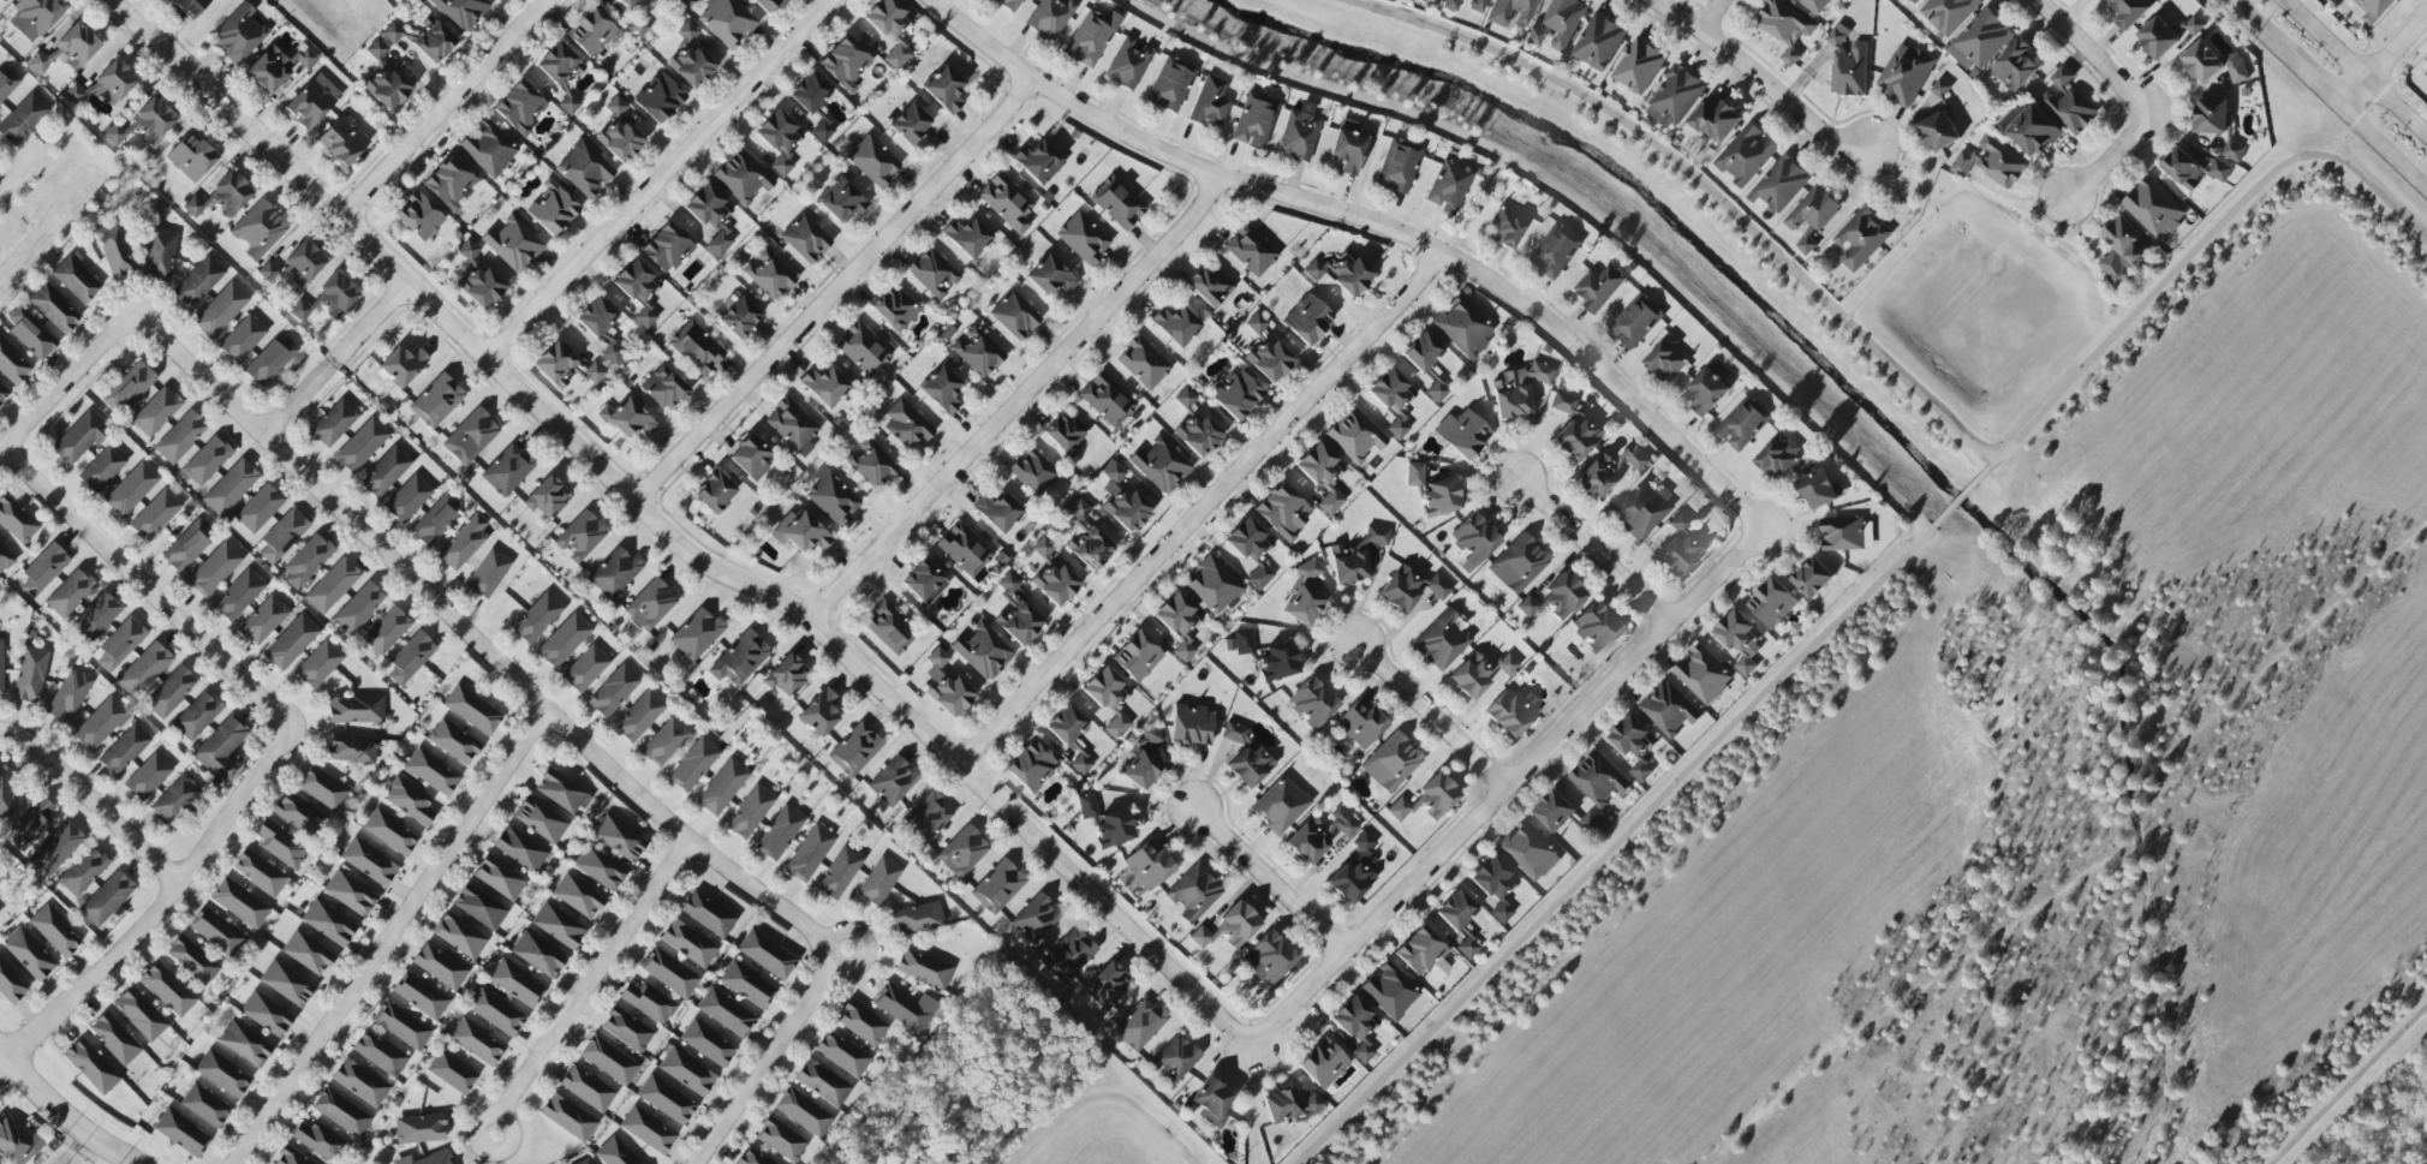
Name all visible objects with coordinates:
building: (4, 0)
building: (2092, 0)
building: (1914, 1)
building: (627, 2)
building: (765, 4)
building: (1009, 4)
building: (1451, 5)
building: (1814, 5)
building: (1478, 6)
building: (190, 7)
building: (2374, 10)
building: (463, 11)
building: (2130, 11)
building: (1511, 12)
building: (1948, 13)
road: (1710, 14)
building: (35, 17)
building: (1050, 17)
building: (727, 20)
building: (2195, 24)
building: (1558, 25)
building: (1784, 26)
road: (2261, 28)
building: (892, 30)
building: (591, 31)
building: (392, 32)
building: (238, 36)
building: (1091, 37)
building: (2157, 38)
building: (433, 41)
building: (1979, 41)
building: (1598, 42)
building: (70, 49)
building: (376, 49)
building: (690, 58)
road: (2385, 59)
building: (2426, 60)
building: (2202, 62)
building: (845, 64)
building: (1127, 64)
building: (278, 66)
building: (1639, 66)
building: (1848, 66)
building: (2015, 66)
building: (556, 67)
road: (2355, 67)
building: (2237, 72)
building: (1904, 74)
building: (2426, 74)
road: (1759, 80)
road: (2316, 80)
building: (7, 83)
building: (1170, 84)
building: (103, 85)
building: (387, 88)
building: (944, 89)
building: (810, 94)
building: (1674, 97)
building: (660, 99)
building: (312, 101)
building: (2067, 101)
road: (2145, 101)
building: (1211, 103)
building: (568, 105)
road: (439, 107)
building: (520, 107)
building: (2211, 117)
building: (23, 118)
building: (1715, 119)
building: (1256, 120)
building: (144, 124)
building: (910, 124)
building: (823, 131)
building: (1938, 131)
building: (620, 132)
building: (2033, 132)
building: (1298, 136)
building: (342, 141)
building: (780, 141)
road: (2385, 145)
building: (1348, 147)
building: (488, 148)
building: (2232, 151)
building: (1745, 155)
building: (191, 157)
building: (873, 161)
building: (1038, 162)
building: (1991, 162)
building: (1397, 166)
building: (585, 168)
building: (2193, 169)
building: (741, 177)
road: (657, 180)
building: (451, 183)
building: (1781, 185)
building: (1448, 186)
building: (228, 191)
building: (841, 201)
building: (1007, 203)
building: (1117, 203)
building: (193, 207)
building: (708, 207)
building: (551, 209)
building: (2153, 209)
building: (1813, 210)
building: (419, 216)
building: (1507, 226)
building: (260, 229)
road: (1370, 231)
building: (968, 234)
road: (1920, 234)
building: (806, 238)
building: (1083, 238)
building: (1861, 239)
building: (720, 243)
building: (513, 244)
building: (1807, 245)
building: (667, 247)
building: (114, 250)
building: (1251, 250)
building: (2122, 250)
building: (470, 251)
building: (1555, 251)
building: (160, 256)
building: (304, 265)
building: (268, 271)
building: (934, 273)
building: (769, 274)
building: (1341, 274)
building: (1051, 276)
building: (76, 279)
building: (199, 281)
building: (632, 283)
building: (1210, 286)
building: (481, 287)
building: (1598, 287)
road: (834, 292)
building: (328, 298)
building: (54, 308)
building: (894, 309)
building: (221, 310)
building: (1015, 315)
building: (596, 317)
building: (645, 317)
building: (739, 317)
building: (1307, 318)
building: (1635, 322)
building: (1257, 323)
building: (1176, 326)
building: (1463, 327)
building: (31, 334)
building: (243, 339)
building: (697, 348)
building: (863, 348)
building: (613, 352)
building: (977, 352)
building: (1421, 352)
road: (335, 359)
building: (1269, 360)
building: (270, 362)
building: (1665, 362)
building: (1143, 363)
building: (12, 364)
building: (402, 365)
building: (565, 368)
road: (65, 380)
building: (824, 386)
building: (943, 387)
building: (130, 388)
building: (666, 388)
road: (1913, 388)
building: (1517, 389)
building: (1391, 390)
building: (1437, 392)
building: (1707, 392)
building: (2, 393)
building: (1236, 394)
building: (1185, 398)
building: (1107, 400)
building: (436, 401)
road: (1026, 405)
building: (156, 412)
building: (627, 418)
building: (334, 423)
building: (907, 424)
building: (1741, 425)
building: (792, 426)
building: (1399, 428)
building: (1574, 430)
building: (1065, 431)
building: (1462, 434)
building: (1198, 435)
building: (1355, 435)
building: (180, 437)
building: (470, 437)
building: (79, 438)
building: (362, 446)
building: (1778, 456)
building: (751, 458)
building: (207, 461)
building: (871, 462)
building: (1161, 465)
building: (1319, 465)
road: (1990, 465)
building: (102, 468)
building: (507, 470)
building: (1609, 471)
building: (386, 472)
building: (1033, 472)
building: (1415, 474)
building: (231, 488)
building: (131, 489)
building: (1820, 490)
building: (715, 493)
building: (547, 497)
building: (833, 497)
building: (1439, 497)
road: (1961, 497)
building: (409, 499)
building: (1123, 500)
building: (1331, 502)
building: (258, 508)
building: (1642, 509)
building: (997, 511)
road: (1201, 512)
building: (1283, 512)
building: (156, 514)
building: (17, 520)
building: (435, 520)
building: (1678, 524)
road: (1930, 529)
road: (678, 531)
building: (800, 532)
building: (284, 535)
building: (1847, 535)
building: (580, 537)
building: (1087, 538)
building: (1474, 538)
building: (1248, 539)
building: (464, 542)
building: (186, 545)
building: (1043, 548)
building: (964, 549)
road: (1594, 551)
building: (5, 557)
building: (1355, 557)
building: (308, 561)
building: (1519, 563)
building: (44, 569)
building: (215, 569)
building: (1308, 569)
building: (488, 573)
building: (614, 573)
building: (1259, 578)
building: (1811, 578)
building: (924, 583)
building: (1056, 584)
building: (1213, 585)
road: (147, 586)
building: (333, 586)
building: (1412, 590)
building: (70, 593)
building: (239, 595)
building: (1555, 598)
building: (1771, 603)
building: (650, 604)
building: (1304, 605)
building: (358, 609)
building: (1015, 613)
building: (96, 616)
building: (538, 617)
building: (263, 620)
building: (1179, 622)
building: (889, 627)
building: (1596, 627)
building: (386, 631)
building: (696, 634)
road: (475, 638)
building: (563, 640)
building: (1740, 640)
building: (1240, 641)
building: (1442, 641)
building: (291, 643)
building: (120, 644)
building: (983, 652)
building: (1137, 656)
building: (410, 658)
building: (740, 658)
building: (937, 658)
building: (1278, 662)
building: (318, 664)
building: (1507, 664)
building: (1, 667)
building: (144, 669)
building: (585, 669)
building: (30, 674)
building: (1703, 674)
building: (787, 675)
building: (1472, 675)
building: (1105, 688)
building: (614, 691)
building: (171, 692)
building: (70, 693)
building: (949, 694)
building: (1312, 703)
building: (356, 709)
building: (1669, 709)
building: (472, 710)
building: (1510, 712)
building: (819, 714)
road: (1432, 715)
building: (197, 716)
building: (639, 716)
building: (101, 724)
building: (1066, 724)
building: (1192, 724)
building: (1361, 724)
building: (1117, 726)
building: (1235, 733)
building: (1151, 734)
building: (1630, 736)
building: (454, 741)
building: (666, 741)
building: (221, 745)
building: (352, 748)
building: (124, 750)
building: (855, 750)
building: (1141, 762)
building: (1391, 763)
building: (693, 764)
building: (1081, 764)
building: (1031, 766)
building: (1251, 766)
building: (433, 771)
building: (1640, 771)
building: (148, 776)
building: (1599, 778)
building: (894, 782)
building: (722, 787)
road: (1503, 788)
building: (323, 789)
building: (6, 790)
building: (561, 790)
building: (174, 799)
building: (410, 800)
building: (1426, 800)
road: (90, 801)
building: (1281, 805)
building: (1554, 811)
building: (750, 812)
building: (298, 814)
building: (926, 818)
building: (541, 819)
road: (1641, 820)
building: (1107, 823)
building: (1591, 823)
building: (30, 826)
building: (390, 831)
building: (780, 832)
building: (619, 838)
building: (281, 846)
building: (520, 848)
building: (55, 849)
building: (1529, 850)
building: (962, 852)
building: (810, 853)
building: (369, 861)
building: (1149, 865)
building: (600, 867)
building: (83, 872)
building: (840, 872)
building: (1354, 872)
building: (260, 873)
building: (500, 878)
building: (1493, 878)
road: (1270, 879)
building: (878, 881)
building: (998, 887)
building: (1194, 891)
building: (350, 894)
building: (578, 896)
building: (107, 899)
building: (240, 903)
building: (479, 907)
building: (1456, 911)
road: (160, 912)
building: (1502, 912)
building: (708, 914)
building: (917, 919)
building: (1036, 919)
building: (329, 923)
building: (557, 925)
building: (1229, 927)
building: (55, 931)
building: (216, 932)
road: (387, 935)
building: (459, 936)
building: (688, 943)
building: (1467, 947)
building: (1420, 951)
building: (308, 953)
building: (28, 954)
building: (767, 954)
building: (1071, 954)
building: (538, 955)
building: (1269, 957)
building: (192, 960)
building: (440, 966)
building: (924, 968)
building: (669, 973)
road: (596, 977)
building: (517, 983)
building: (11, 984)
building: (287, 984)
building: (747, 984)
building: (1110, 984)
building: (168, 989)
building: (1390, 991)
building: (421, 995)
building: (649, 1002)
building: (905, 1008)
building: (496, 1011)
building: (727, 1011)
building: (141, 1014)
building: (266, 1014)
building: (861, 1023)
building: (401, 1025)
building: (1139, 1025)
building: (1354, 1025)
building: (627, 1029)
building: (115, 1039)
building: (476, 1041)
building: (245, 1043)
building: (708, 1043)
building: (380, 1053)
building: (842, 1053)
road: (768, 1056)
building: (609, 1059)
building: (1175, 1059)
building: (1323, 1063)
building: (91, 1067)
building: (452, 1072)
building: (687, 1072)
building: (222, 1074)
building: (360, 1082)
building: (823, 1082)
road: (2348, 1085)
building: (588, 1088)
building: (667, 1099)
building: (1211, 1103)
building: (205, 1105)
building: (1289, 1105)
road: (1250, 1111)
road: (62, 1112)
building: (341, 1112)
building: (804, 1112)
building: (568, 1117)
building: (419, 1129)
building: (648, 1129)
building: (181, 1133)
building: (781, 1140)
building: (321, 1141)
building: (14, 1142)
building: (615, 1153)
building: (292, 1157)
building: (753, 1157)
building: (427, 1159)
building: (586, 1162)

